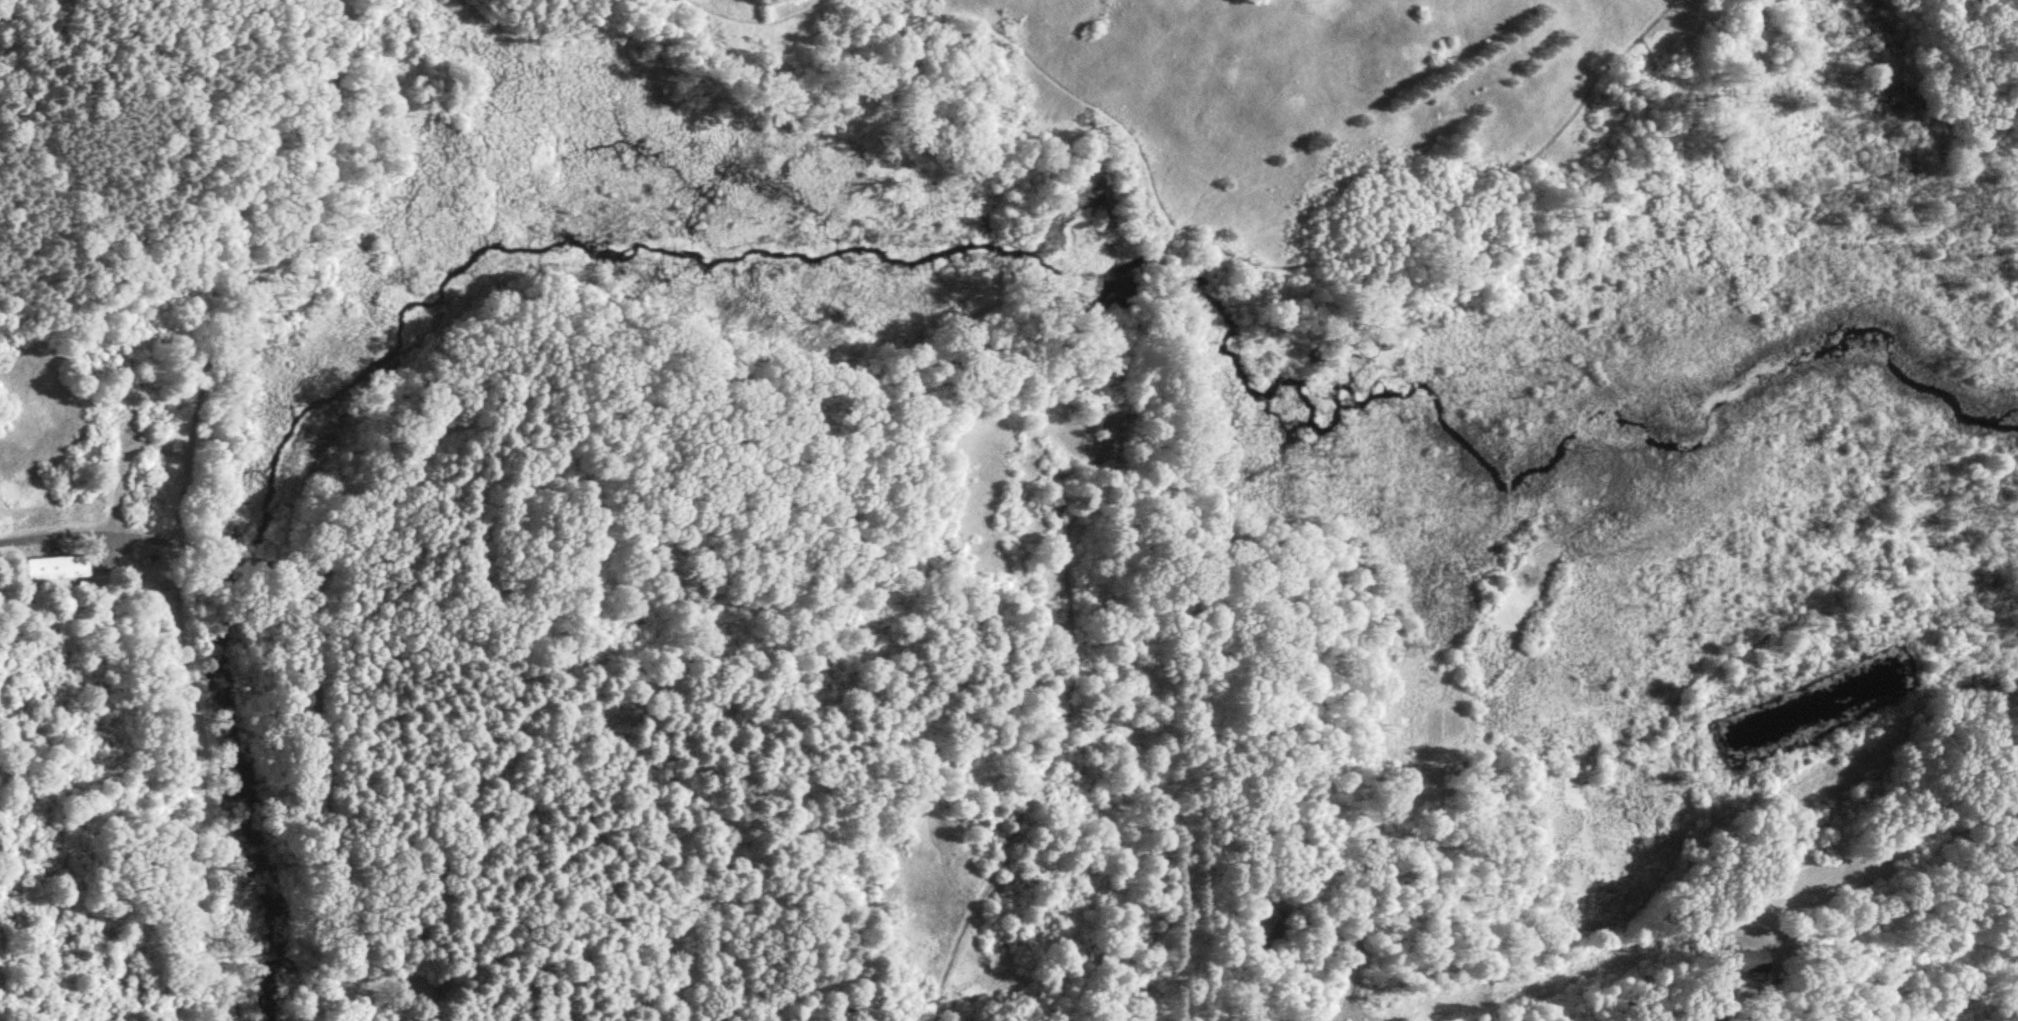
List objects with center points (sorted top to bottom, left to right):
road: (24, 536)
building: (53, 566)
building: (1741, 958)
road: (1772, 993)

